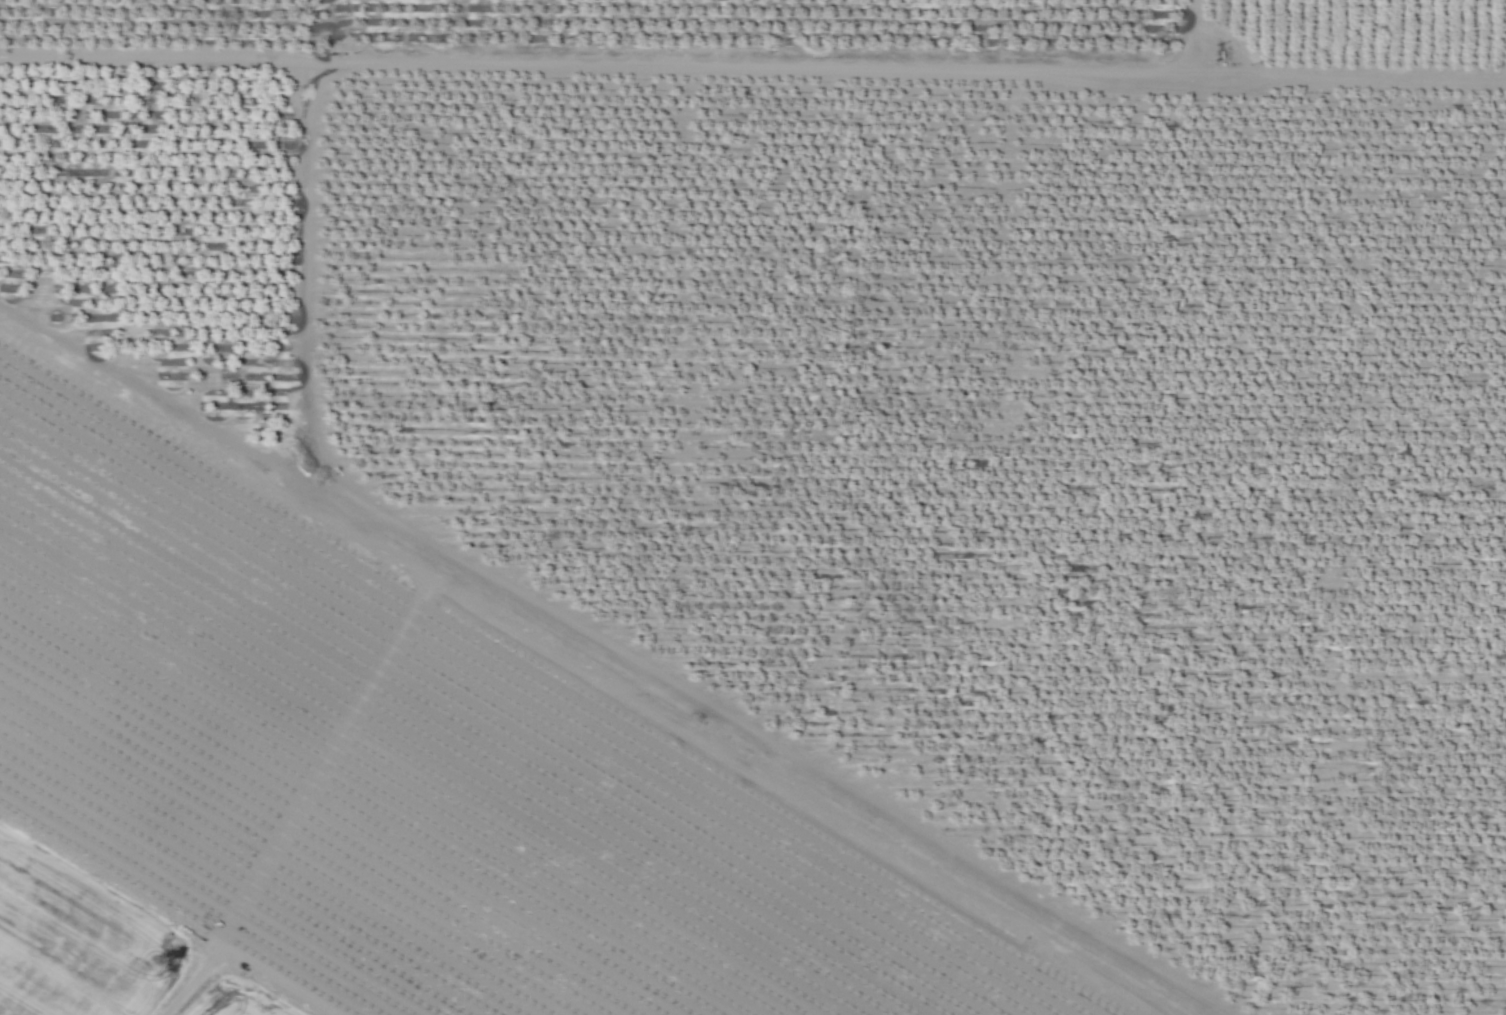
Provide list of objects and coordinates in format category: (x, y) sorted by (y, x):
road: (753, 71)

